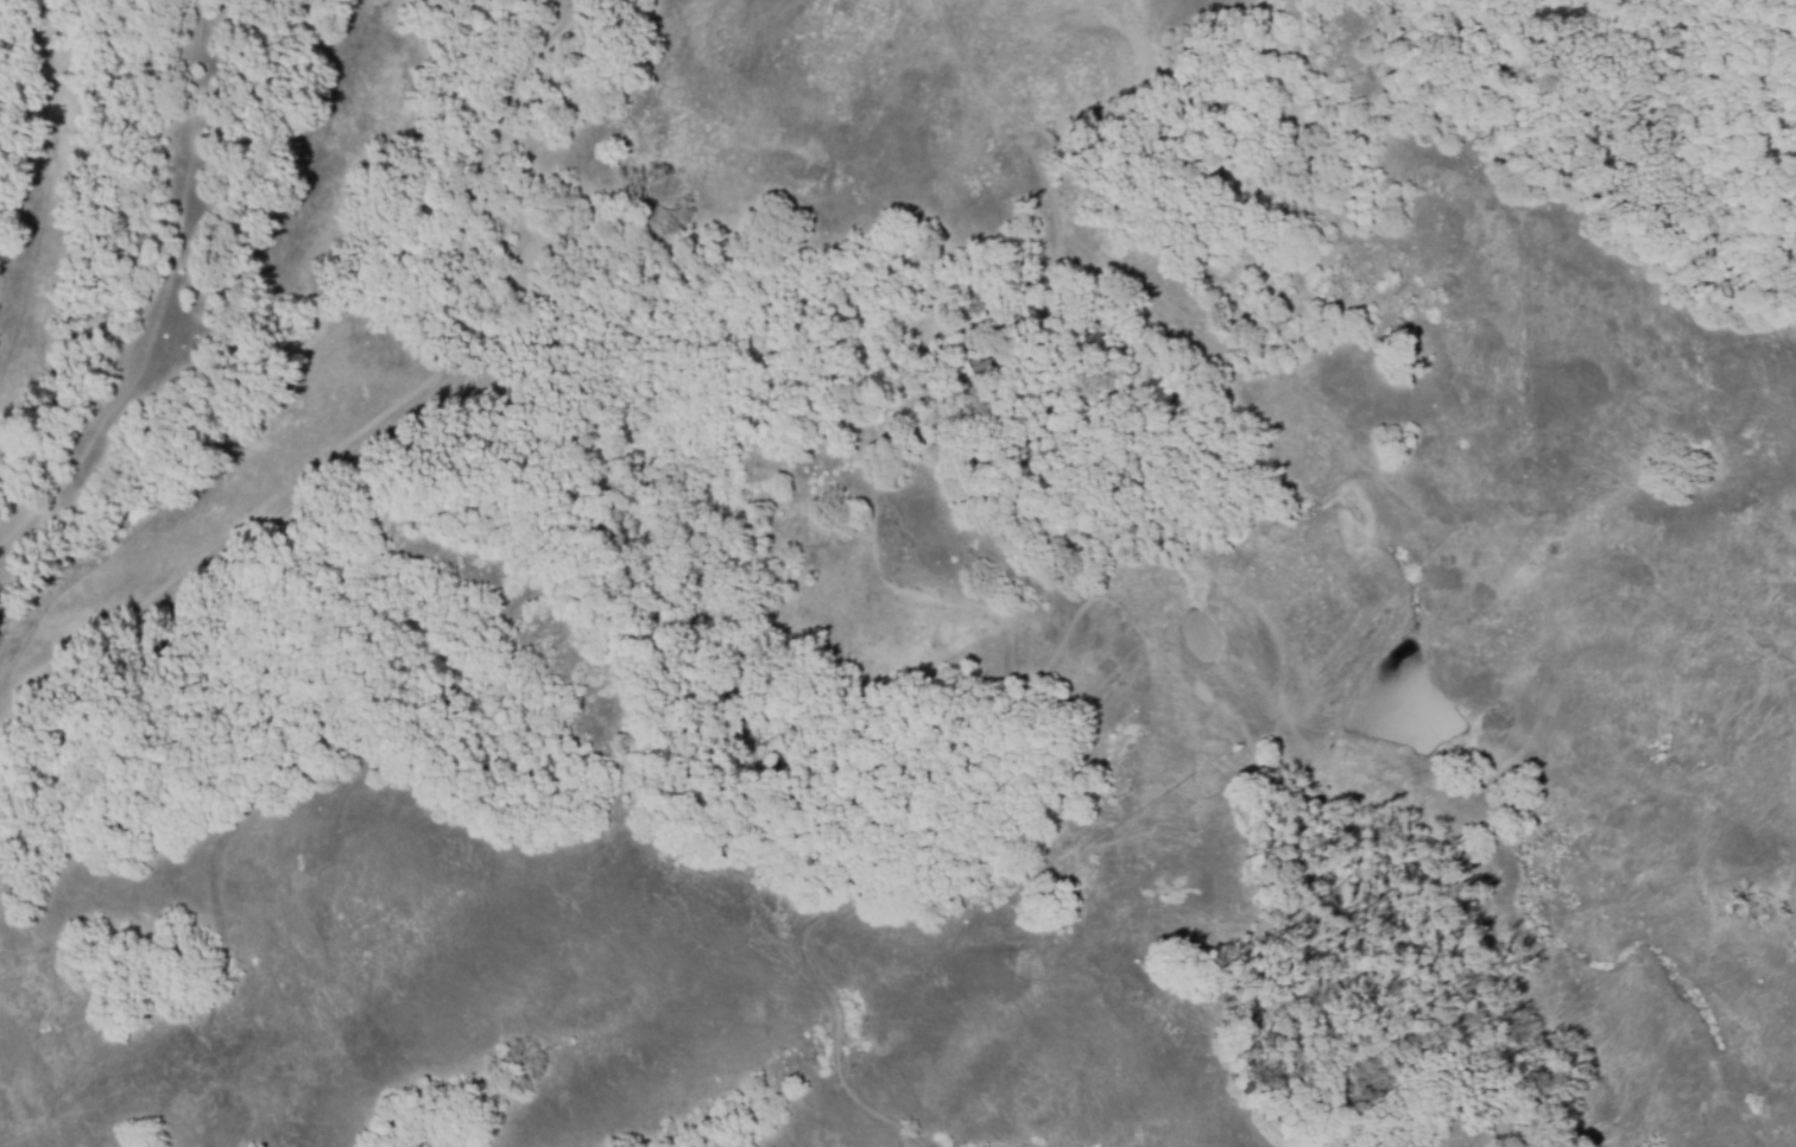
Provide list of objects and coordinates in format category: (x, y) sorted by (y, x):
road: (331, 416)

